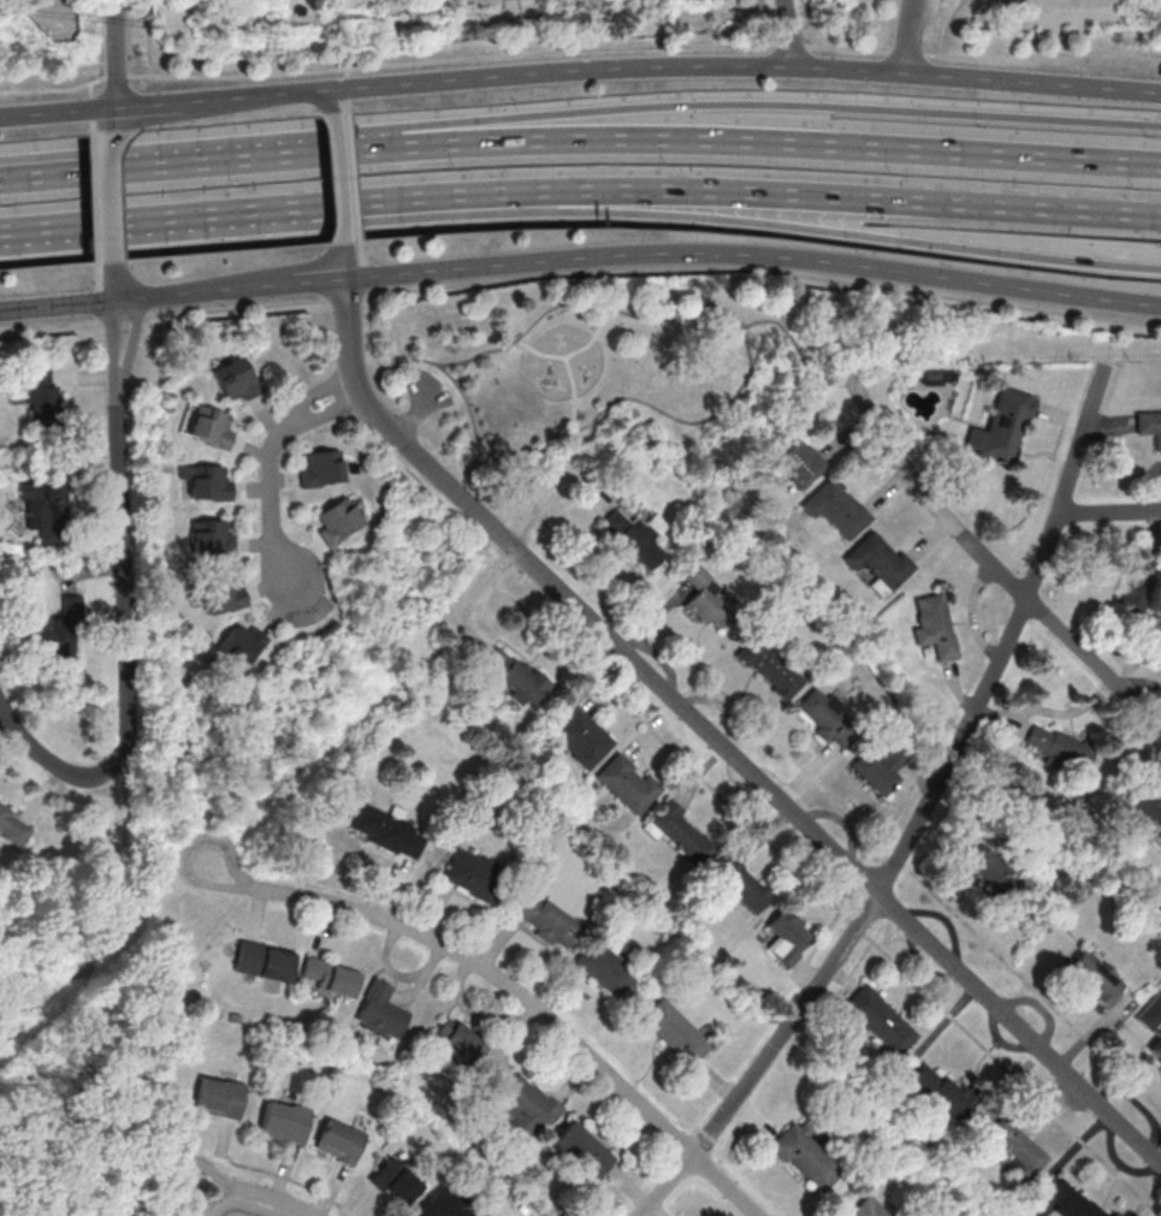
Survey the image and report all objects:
road: (790, 34)
road: (910, 36)
road: (579, 49)
road: (115, 53)
road: (580, 70)
road: (325, 100)
road: (765, 105)
road: (111, 119)
road: (769, 141)
road: (108, 156)
road: (297, 156)
road: (108, 171)
road: (343, 178)
road: (707, 191)
road: (113, 195)
road: (709, 216)
road: (128, 220)
road: (753, 254)
road: (764, 268)
road: (254, 275)
road: (115, 280)
road: (321, 280)
road: (206, 291)
road: (345, 298)
road: (57, 306)
road: (728, 309)
road: (162, 315)
road: (371, 334)
road: (795, 343)
road: (130, 351)
road: (114, 352)
road: (573, 352)
road: (343, 357)
park: (663, 369)
road: (462, 370)
building: (235, 379)
road: (310, 385)
parking lot: (426, 390)
road: (318, 391)
road: (574, 392)
building: (41, 396)
road: (331, 413)
road: (411, 414)
building: (1149, 426)
building: (211, 427)
building: (1001, 427)
road: (474, 432)
building: (801, 464)
road: (521, 468)
building: (321, 469)
building: (207, 481)
road: (269, 497)
building: (837, 509)
road: (1109, 509)
building: (45, 510)
building: (337, 521)
building: (635, 536)
building: (212, 539)
road: (514, 545)
road: (988, 558)
building: (879, 560)
road: (123, 570)
building: (1136, 588)
building: (221, 595)
building: (706, 600)
building: (935, 624)
building: (61, 634)
building: (239, 643)
building: (770, 668)
building: (514, 675)
building: (821, 712)
building: (579, 740)
road: (718, 740)
building: (1059, 746)
building: (879, 767)
road: (64, 769)
building: (628, 784)
road: (845, 808)
building: (1143, 813)
road: (922, 815)
building: (13, 828)
building: (386, 832)
building: (682, 834)
building: (987, 867)
building: (474, 876)
building: (741, 885)
road: (831, 902)
building: (544, 918)
building: (787, 936)
building: (263, 961)
building: (605, 968)
building: (328, 977)
building: (1096, 977)
road: (76, 978)
road: (514, 990)
building: (380, 1012)
building: (881, 1020)
building: (676, 1031)
building: (460, 1040)
park: (75, 1048)
building: (1156, 1048)
building: (941, 1091)
building: (219, 1098)
building: (526, 1107)
building: (284, 1122)
building: (339, 1141)
building: (1015, 1149)
building: (580, 1151)
building: (806, 1156)
building: (393, 1182)
road: (255, 1193)
building: (1070, 1199)
building: (443, 1203)
building: (867, 1208)

